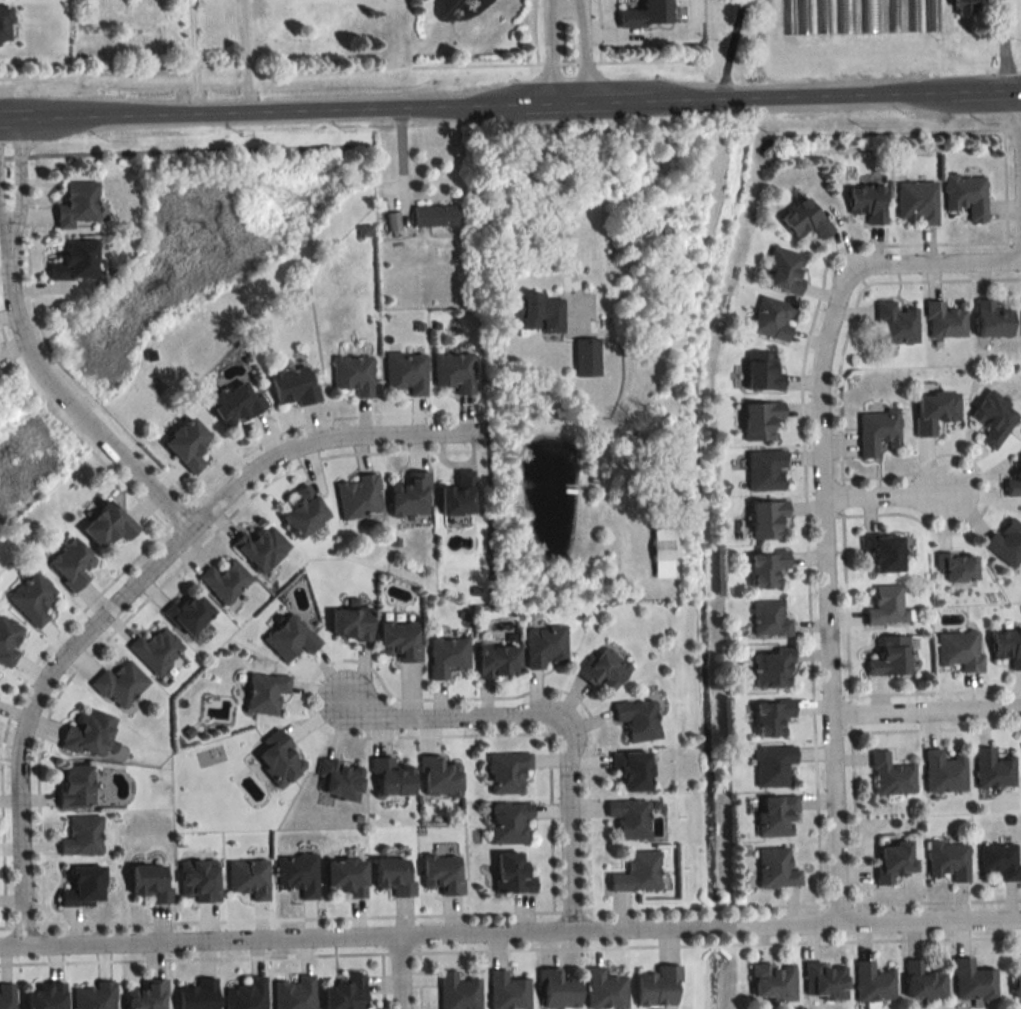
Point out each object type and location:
building: (964, 7)
building: (646, 14)
building: (891, 15)
building: (911, 15)
building: (930, 15)
building: (820, 16)
building: (843, 16)
building: (867, 16)
building: (794, 17)
building: (3, 23)
road: (1003, 45)
road: (729, 48)
road: (582, 50)
road: (546, 51)
road: (245, 57)
road: (650, 57)
road: (193, 58)
road: (552, 59)
road: (586, 59)
road: (568, 60)
road: (479, 61)
road: (38, 73)
road: (510, 105)
road: (1017, 126)
road: (894, 128)
road: (1017, 175)
road: (19, 177)
building: (966, 195)
power tower: (282, 199)
road: (545, 199)
building: (916, 202)
building: (867, 203)
building: (77, 204)
building: (434, 215)
building: (806, 220)
building: (391, 221)
road: (4, 222)
building: (75, 261)
road: (953, 264)
building: (784, 271)
building: (536, 312)
building: (772, 319)
building: (993, 320)
building: (945, 321)
building: (896, 325)
building: (585, 357)
building: (454, 371)
building: (762, 371)
building: (406, 372)
building: (353, 374)
building: (294, 386)
road: (60, 395)
building: (236, 403)
building: (934, 411)
building: (994, 418)
building: (760, 420)
building: (876, 431)
building: (188, 444)
building: (765, 470)
building: (1015, 480)
building: (410, 495)
building: (458, 495)
building: (359, 497)
road: (881, 498)
building: (304, 512)
building: (767, 519)
building: (108, 525)
building: (1006, 541)
building: (261, 548)
building: (661, 549)
building: (884, 552)
building: (71, 563)
building: (958, 566)
building: (766, 568)
road: (821, 579)
building: (224, 581)
road: (132, 582)
building: (32, 598)
building: (886, 605)
building: (189, 614)
building: (769, 620)
building: (350, 624)
building: (290, 638)
building: (398, 640)
building: (8, 641)
building: (545, 647)
building: (1008, 647)
building: (156, 650)
building: (959, 650)
building: (447, 656)
building: (889, 657)
building: (498, 661)
building: (603, 668)
building: (772, 671)
building: (120, 684)
building: (264, 692)
road: (442, 714)
road: (923, 715)
building: (771, 717)
building: (637, 719)
building: (89, 735)
building: (279, 758)
building: (772, 765)
building: (992, 769)
building: (632, 770)
building: (943, 771)
building: (507, 772)
building: (890, 775)
building: (392, 777)
building: (438, 777)
building: (338, 779)
building: (75, 785)
building: (775, 816)
building: (629, 818)
road: (572, 821)
building: (509, 823)
building: (82, 836)
building: (947, 860)
building: (999, 860)
building: (893, 861)
building: (775, 868)
building: (297, 873)
building: (442, 873)
building: (511, 873)
building: (637, 873)
building: (248, 877)
building: (347, 877)
building: (393, 877)
building: (199, 880)
building: (150, 884)
building: (84, 887)
road: (510, 933)
road: (400, 972)
building: (972, 981)
building: (825, 982)
building: (923, 982)
building: (772, 983)
building: (872, 984)
building: (1017, 985)
building: (658, 988)
building: (557, 990)
building: (605, 990)
building: (507, 991)
building: (457, 992)
building: (294, 993)
building: (345, 994)
building: (198, 995)
building: (247, 995)
building: (7, 996)
building: (46, 996)
building: (95, 996)
building: (147, 996)

